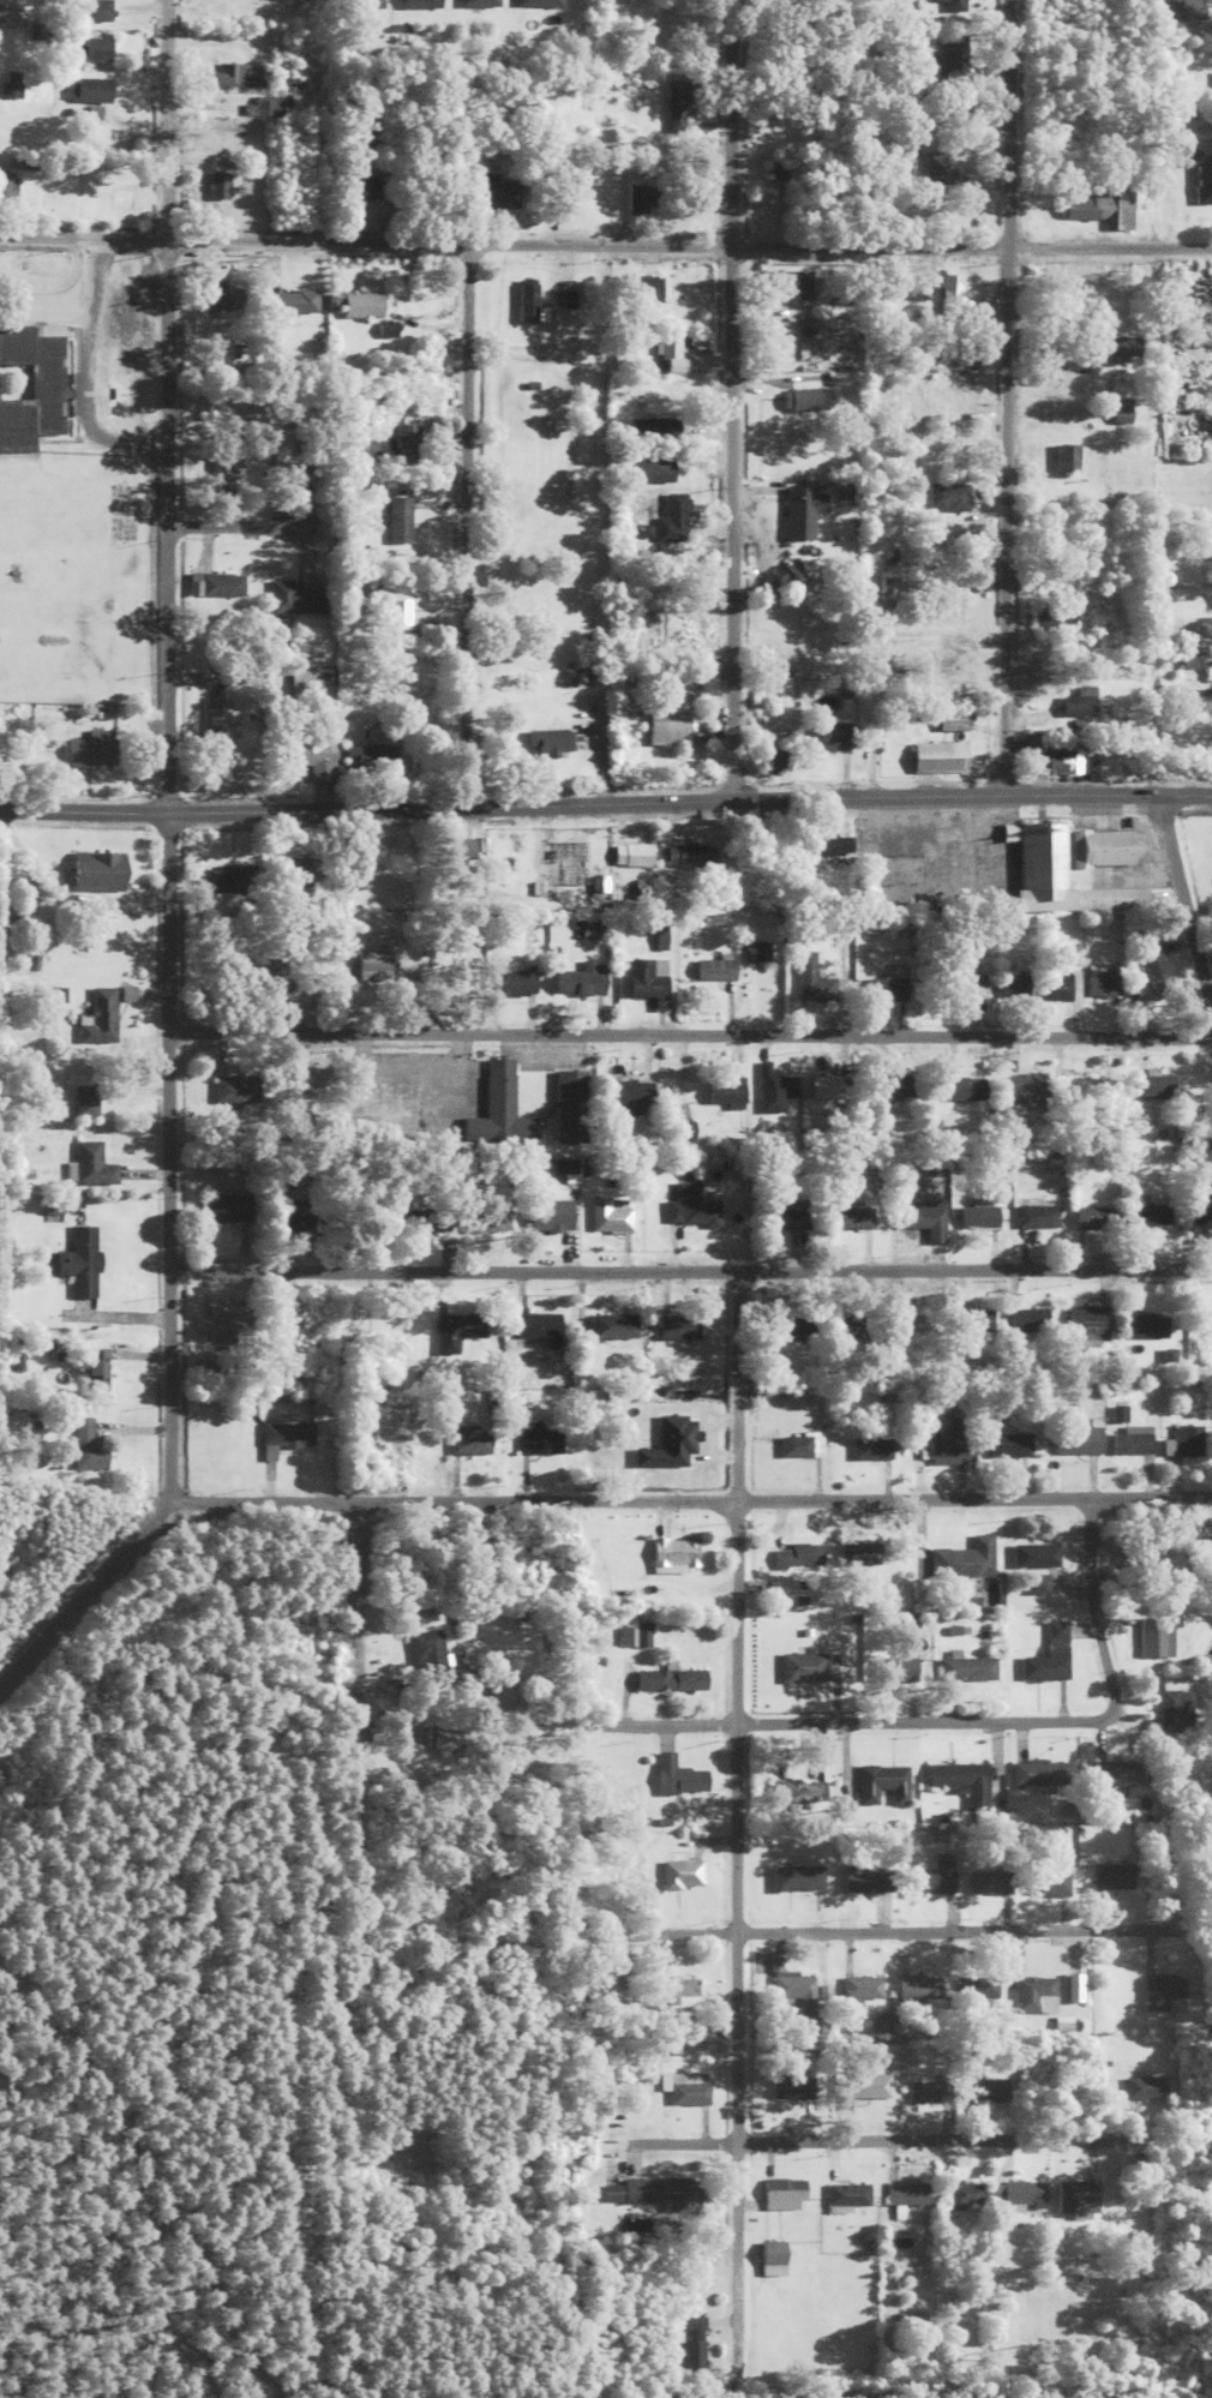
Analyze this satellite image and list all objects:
road: (605, 241)
road: (1006, 392)
road: (731, 396)
road: (869, 516)
road: (463, 518)
road: (599, 518)
road: (232, 522)
road: (605, 795)
road: (167, 875)
road: (1184, 894)
road: (690, 1027)
road: (689, 1264)
road: (692, 1497)
road: (1088, 1606)
road: (360, 1696)
road: (859, 1715)
road: (736, 1808)
road: (902, 1924)
road: (901, 2133)

